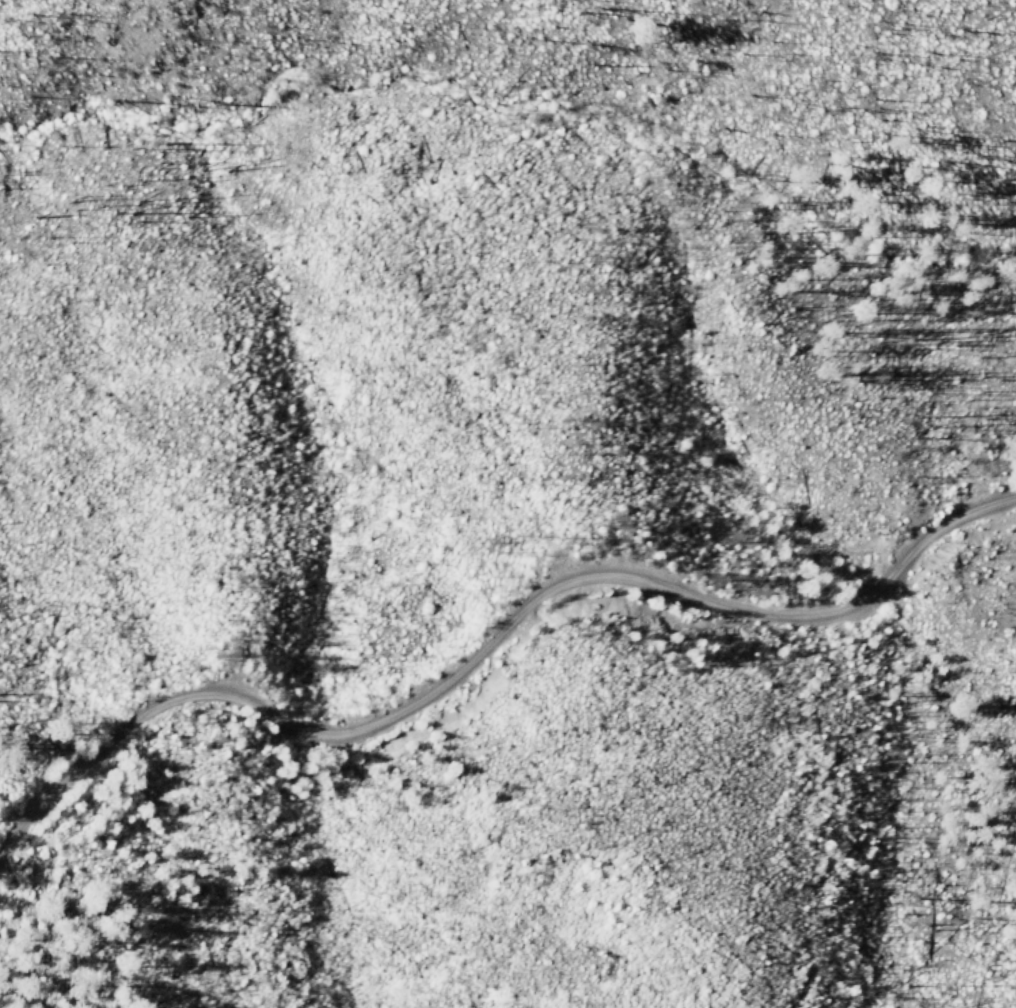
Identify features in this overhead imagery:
road: (521, 704)

